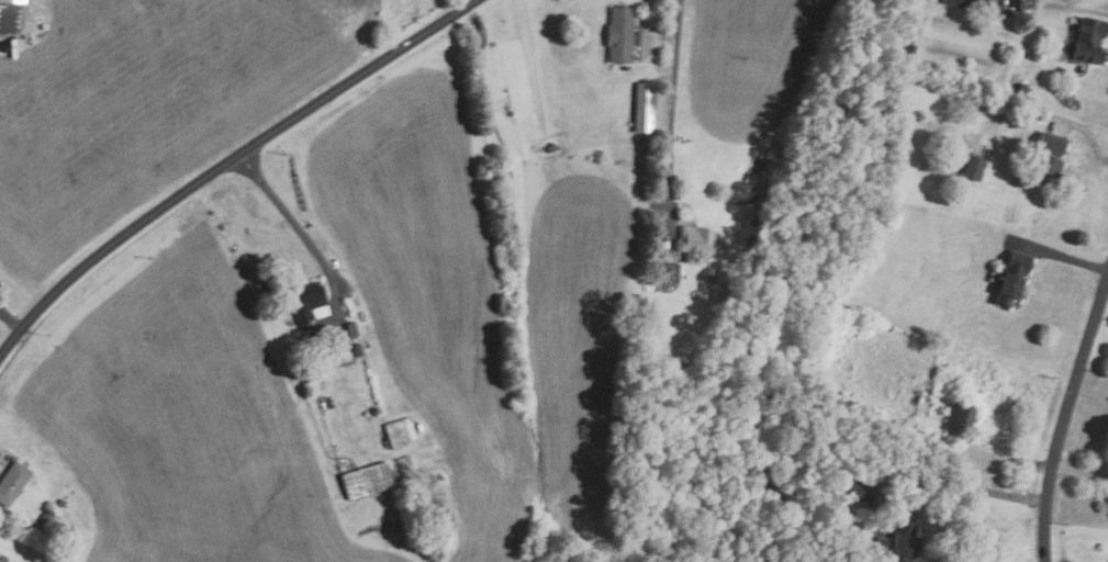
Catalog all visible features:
building: (14, 1)
building: (975, 3)
road: (1015, 4)
road: (649, 23)
building: (618, 34)
building: (1087, 40)
building: (909, 50)
road: (1107, 53)
building: (1020, 90)
road: (669, 97)
building: (642, 106)
road: (1087, 133)
building: (1045, 159)
road: (225, 164)
building: (972, 168)
road: (302, 232)
building: (694, 239)
road: (1059, 254)
building: (669, 271)
building: (1010, 278)
building: (306, 301)
road: (10, 319)
road: (1100, 327)
building: (349, 330)
building: (356, 350)
building: (312, 378)
building: (959, 416)
road: (1065, 418)
building: (399, 432)
road: (2, 459)
road: (1081, 471)
building: (365, 481)
building: (11, 482)
building: (860, 490)
road: (973, 490)
building: (60, 503)
building: (47, 516)
building: (898, 542)
building: (852, 559)

